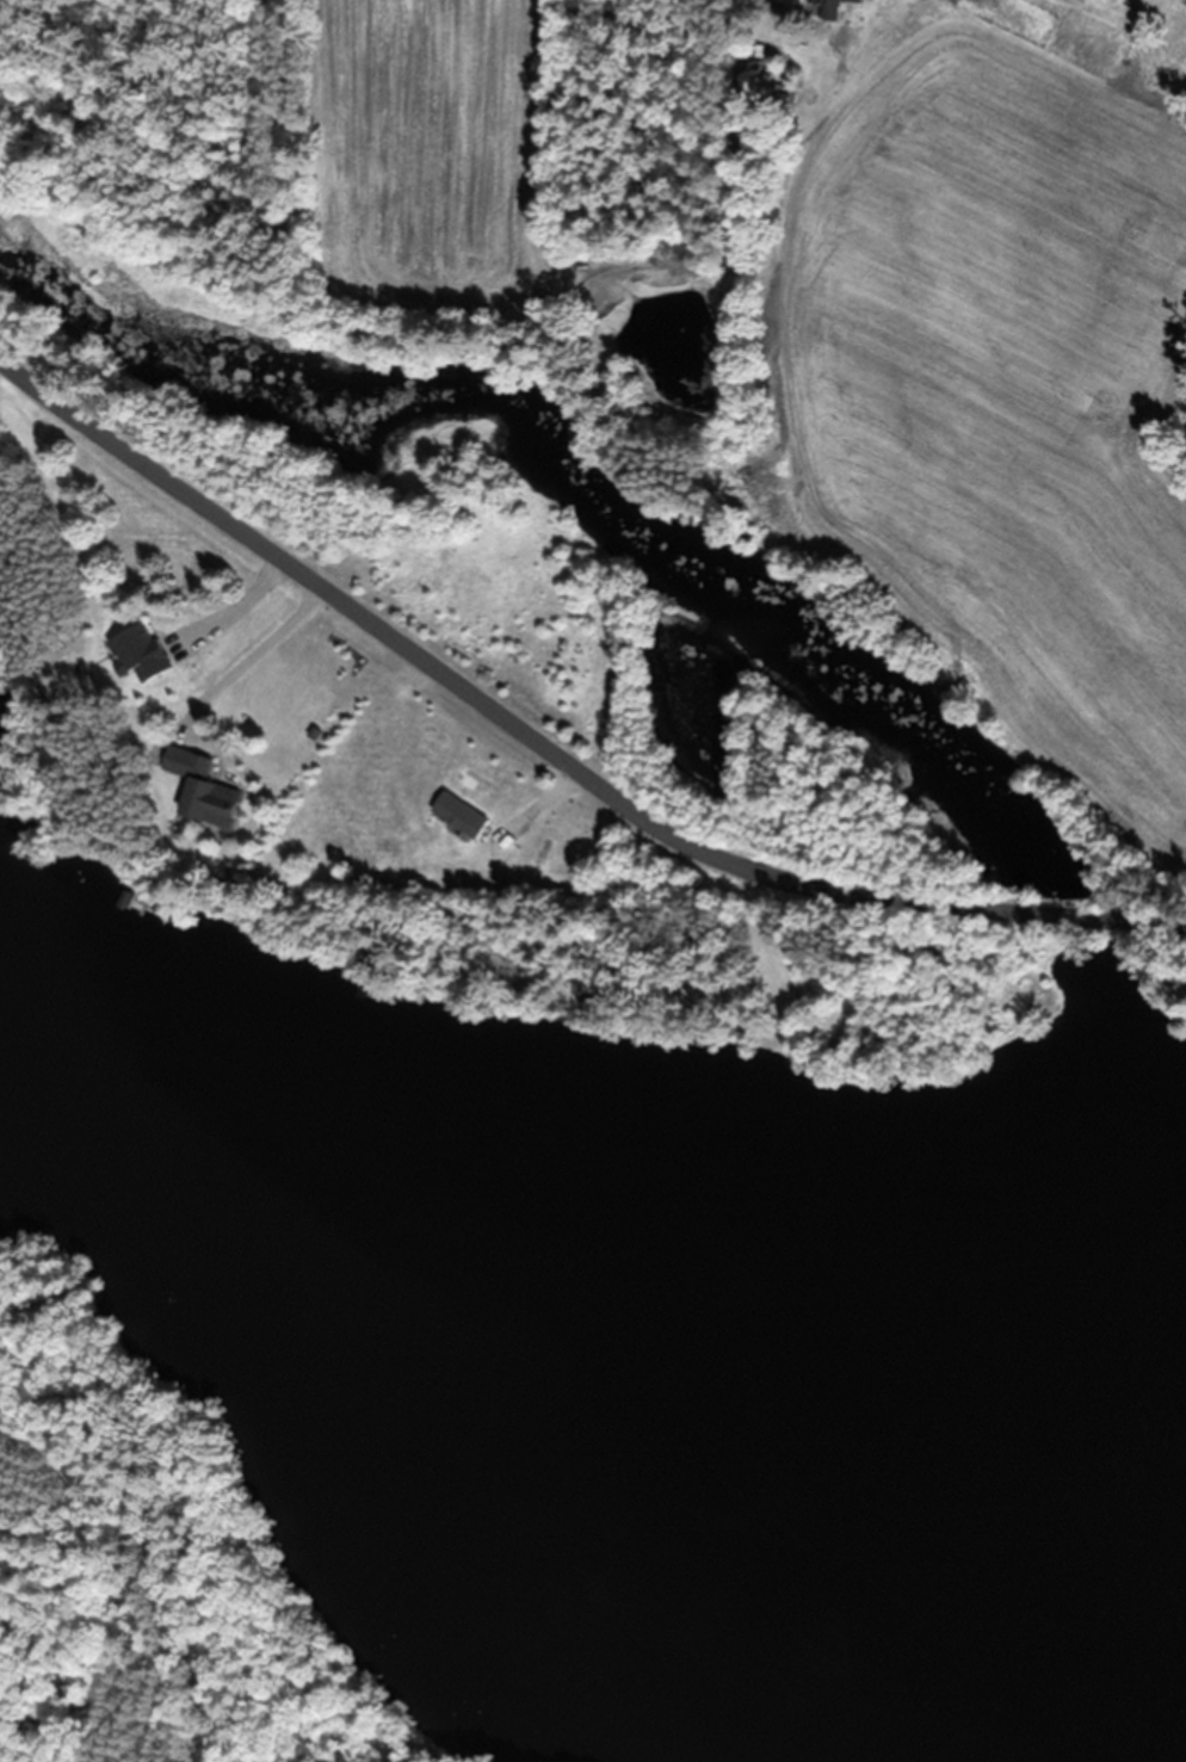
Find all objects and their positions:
building: (854, 0)
building: (826, 10)
crop: (434, 179)
crop: (1001, 415)
road: (231, 607)
building: (136, 649)
road: (248, 656)
road: (476, 697)
building: (203, 793)
road: (1062, 910)
road: (1153, 913)
river: (622, 1325)
road: (109, 1542)
park: (153, 1574)

